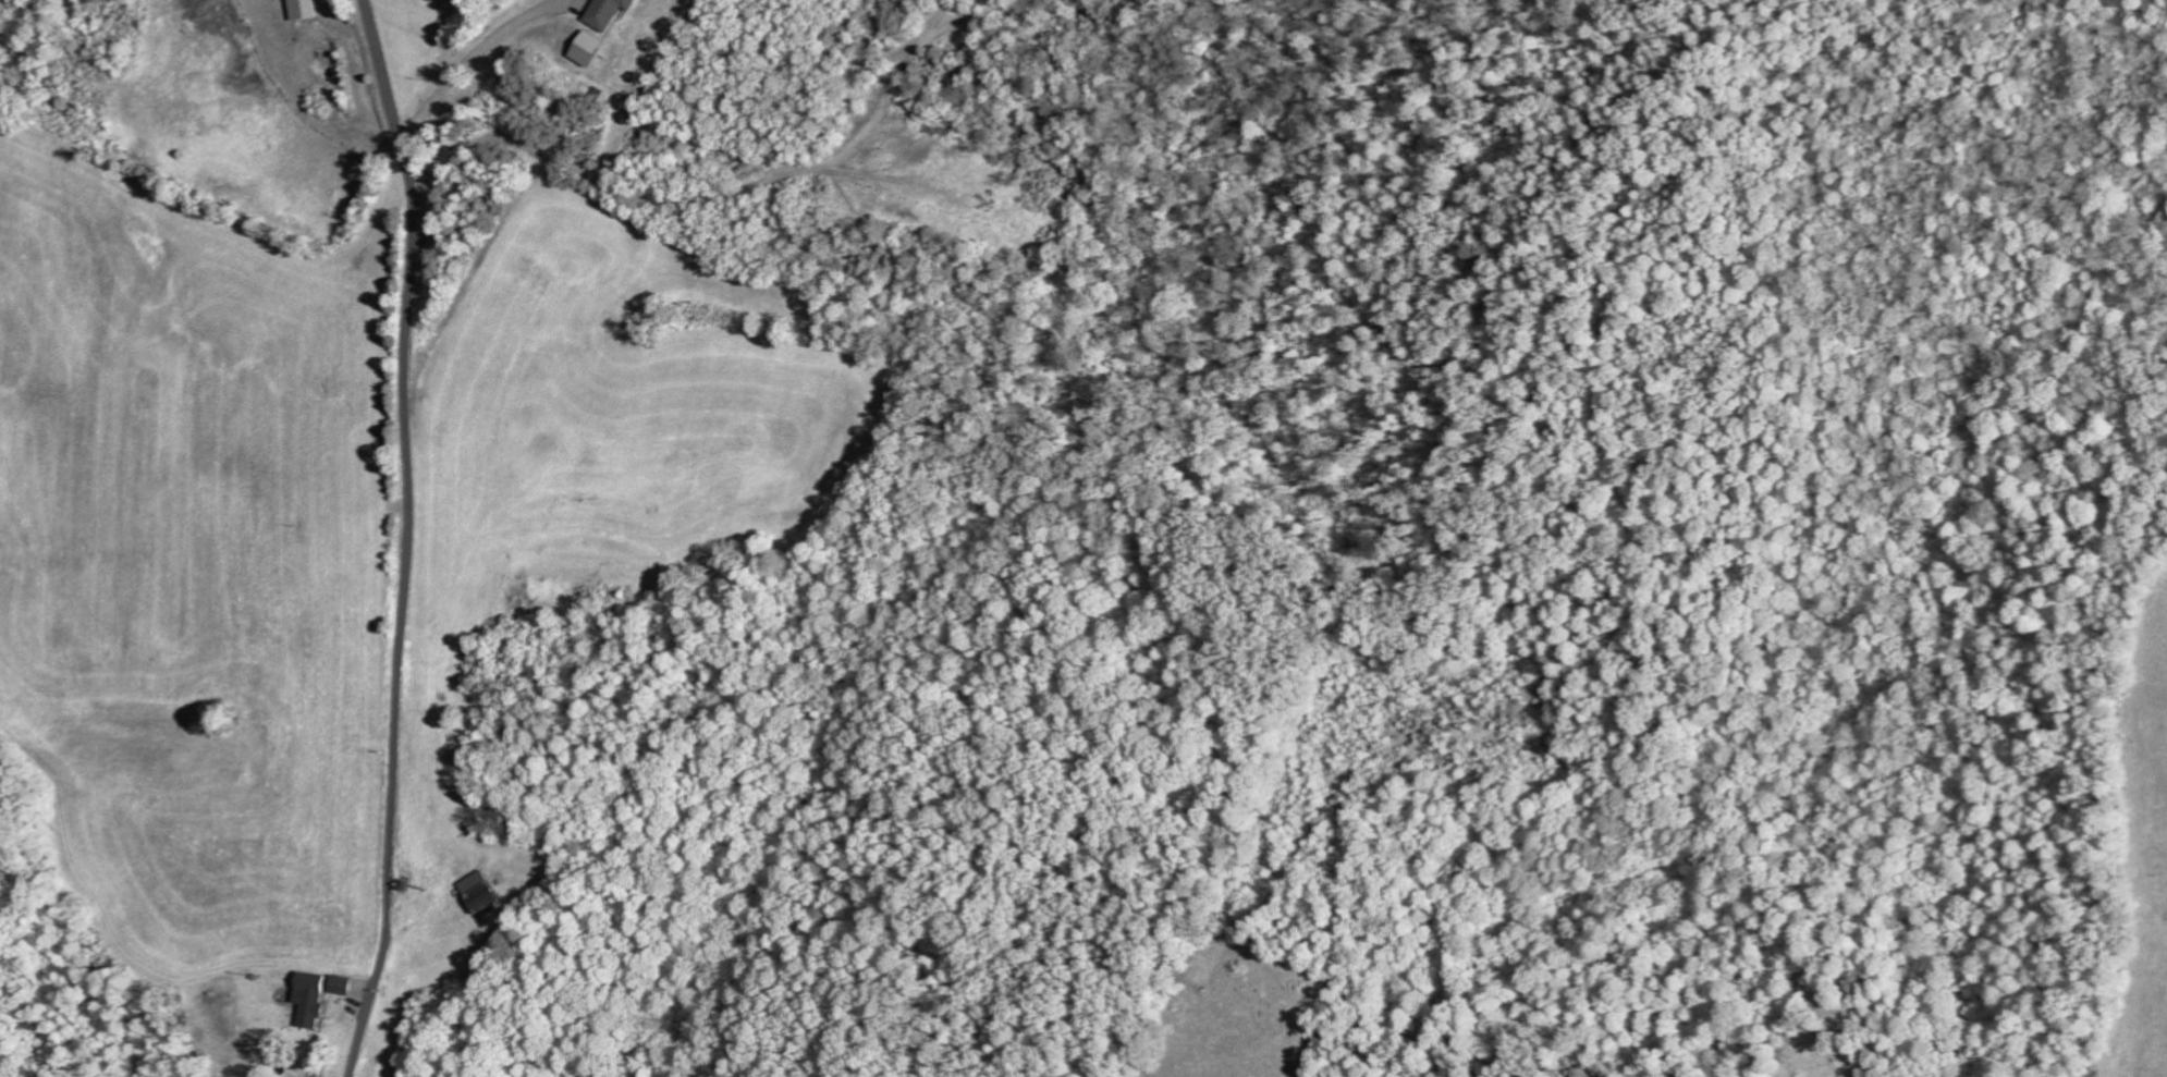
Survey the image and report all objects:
building: (307, 10)
building: (613, 12)
building: (595, 50)
road: (408, 537)
building: (490, 891)
building: (346, 984)
building: (316, 998)

